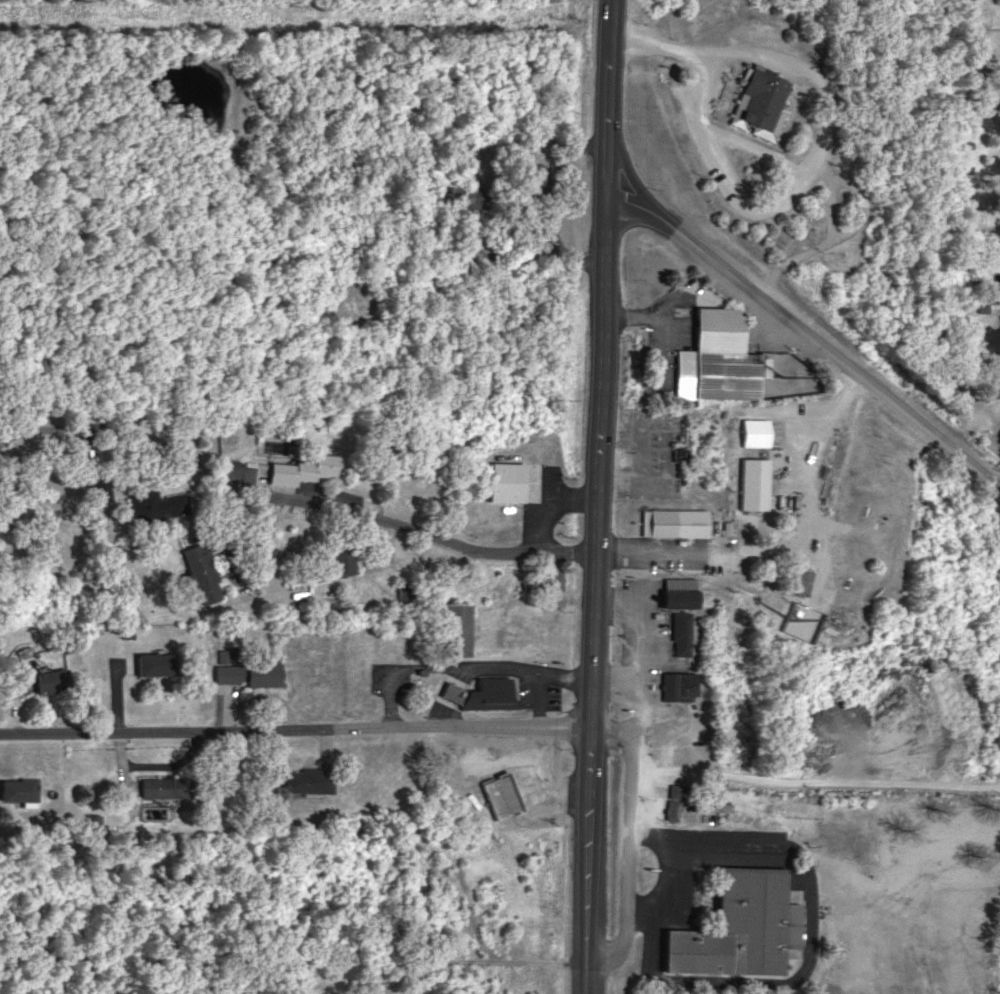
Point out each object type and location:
building: (997, 1)
building: (760, 102)
road: (827, 135)
building: (530, 174)
building: (468, 194)
road: (839, 234)
road: (807, 336)
building: (715, 357)
road: (140, 431)
building: (753, 431)
road: (819, 440)
building: (300, 468)
building: (500, 480)
building: (752, 482)
building: (98, 490)
road: (600, 496)
building: (157, 504)
building: (672, 521)
road: (430, 535)
building: (340, 555)
road: (747, 556)
building: (201, 571)
building: (551, 578)
building: (801, 581)
building: (677, 591)
building: (799, 621)
building: (457, 628)
building: (681, 632)
building: (222, 655)
building: (154, 663)
building: (248, 672)
building: (50, 679)
building: (678, 685)
building: (481, 693)
road: (297, 727)
building: (305, 780)
building: (163, 786)
building: (18, 790)
building: (499, 794)
building: (697, 796)
building: (673, 808)
building: (92, 821)
building: (739, 926)

